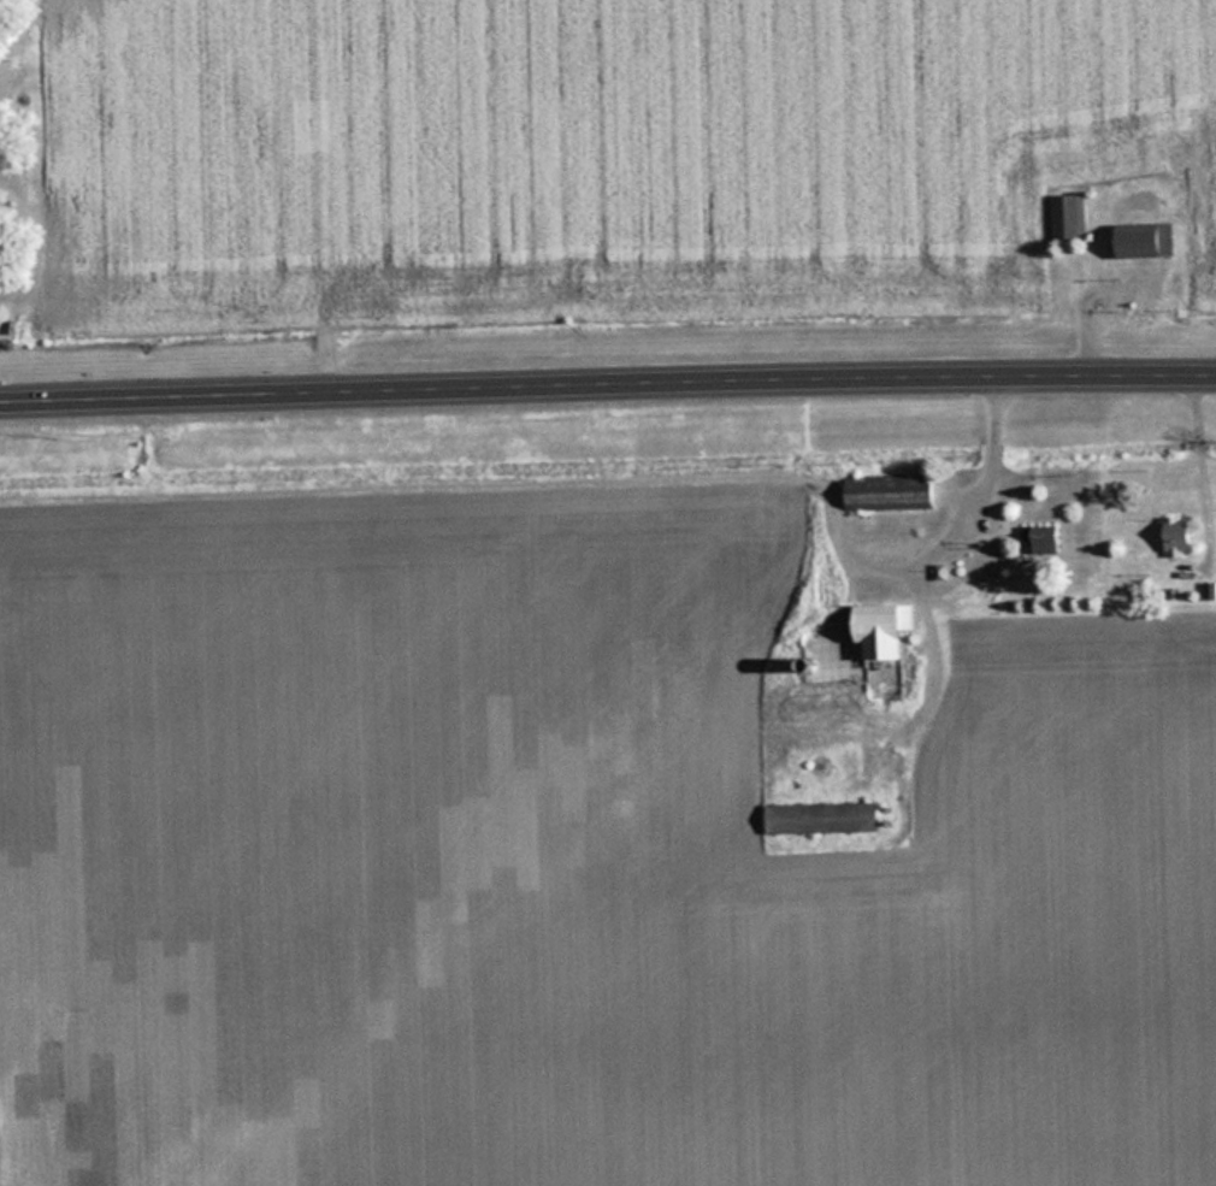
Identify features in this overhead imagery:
building: (1066, 216)
building: (1144, 240)
road: (607, 382)
building: (891, 491)
building: (1180, 538)
building: (1043, 539)
building: (886, 631)
building: (876, 686)
building: (824, 816)

